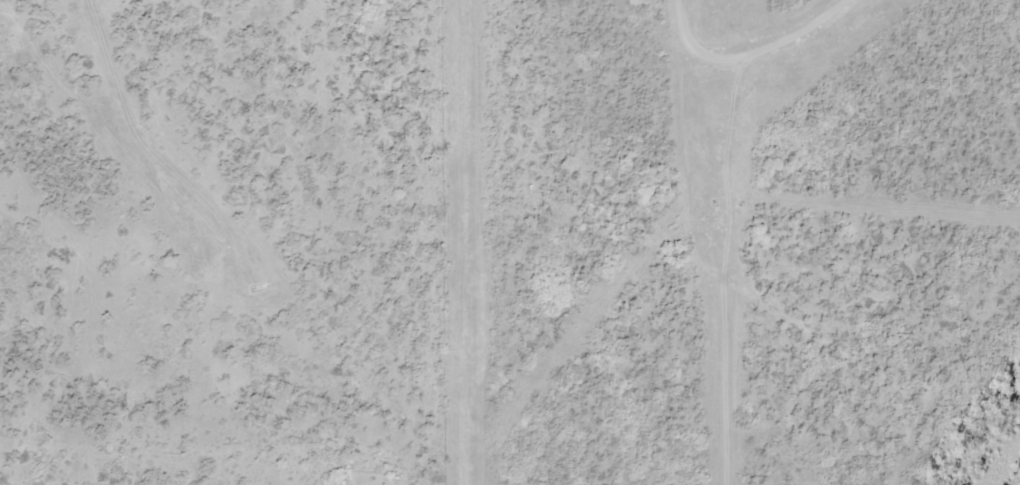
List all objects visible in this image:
road: (768, 52)

